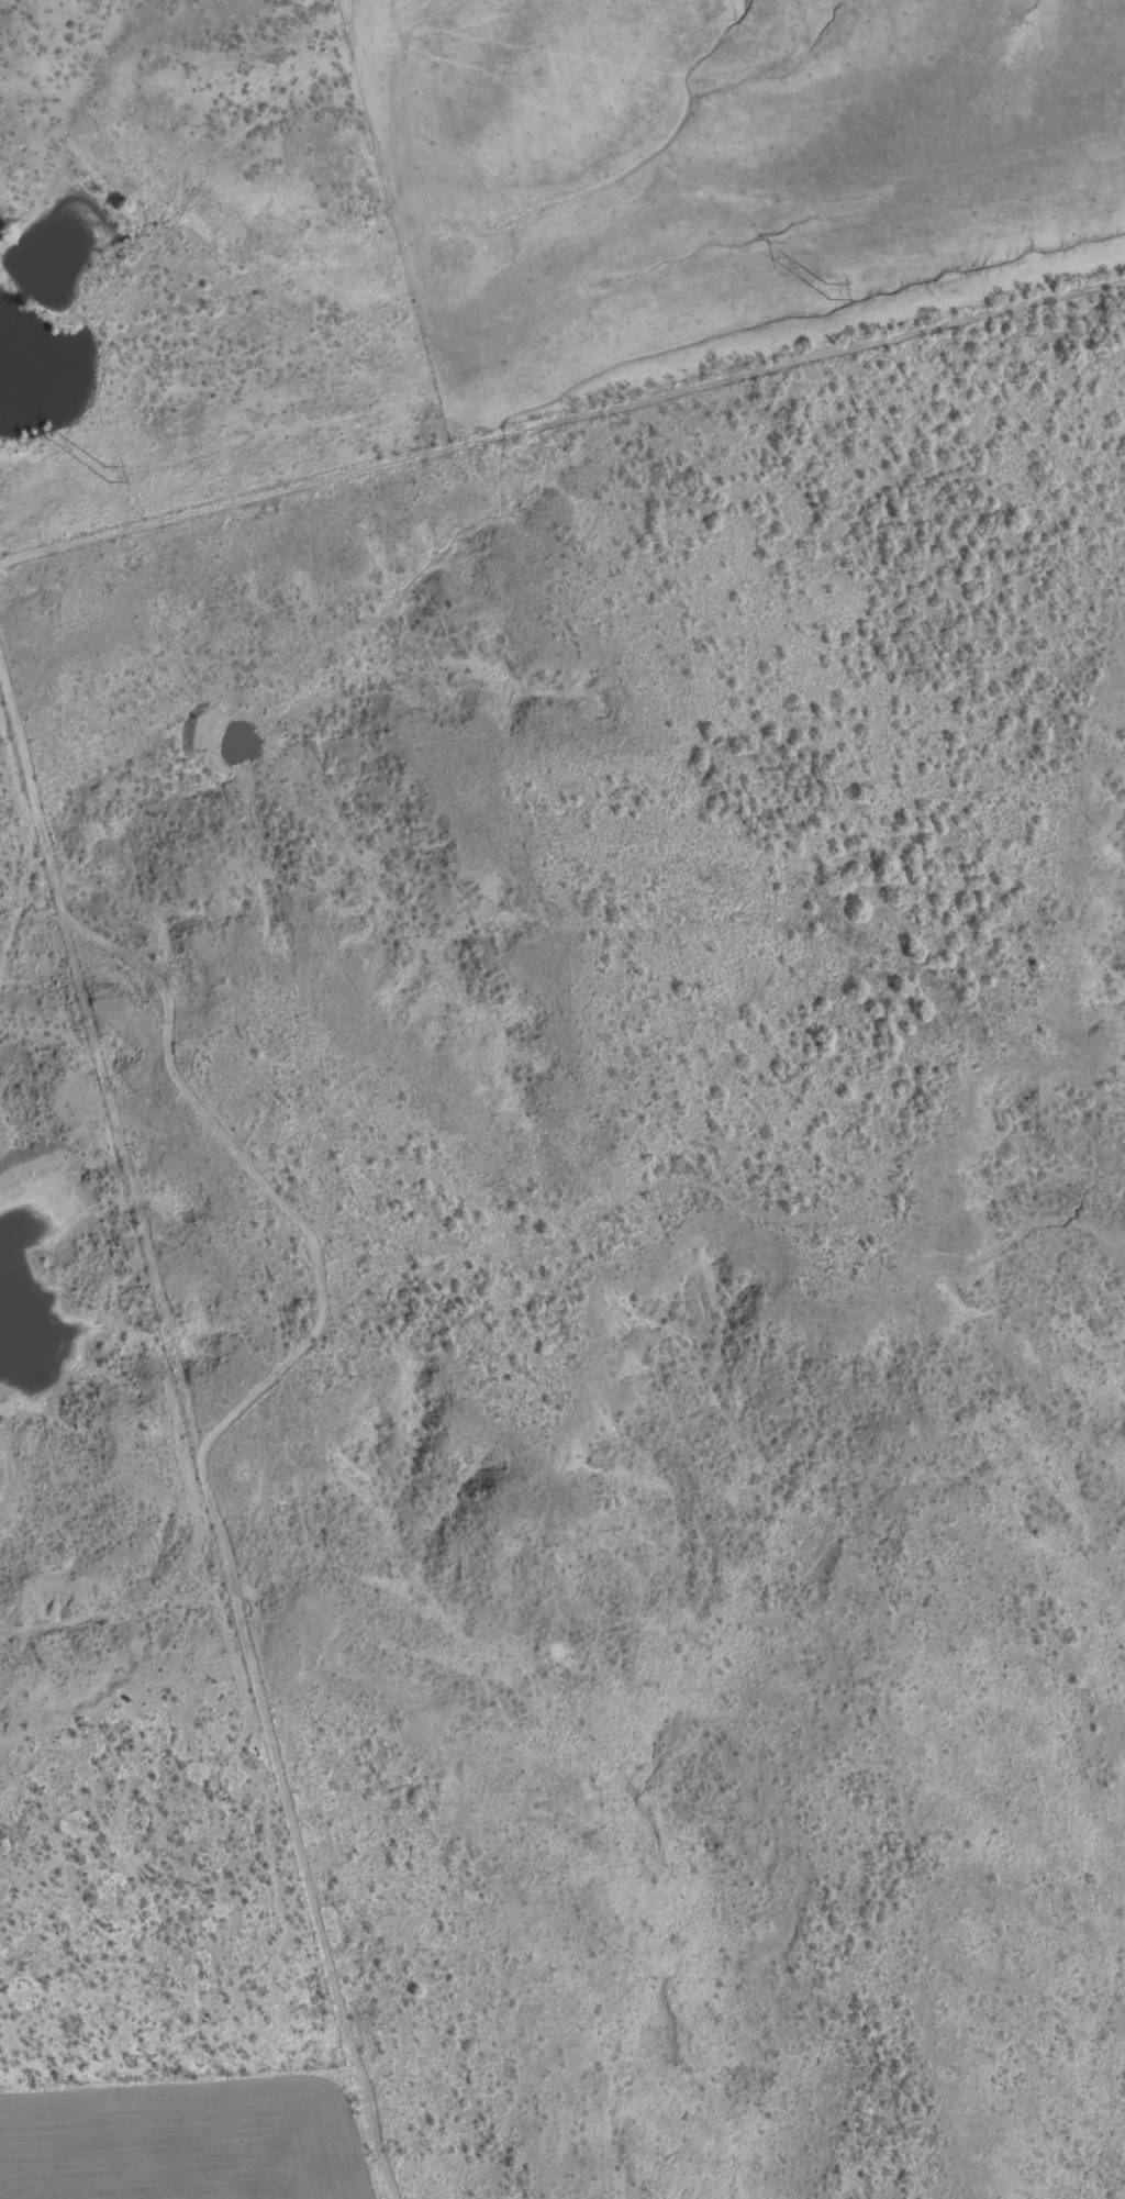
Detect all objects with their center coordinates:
power tower: (826, 290)
power tower: (107, 473)

